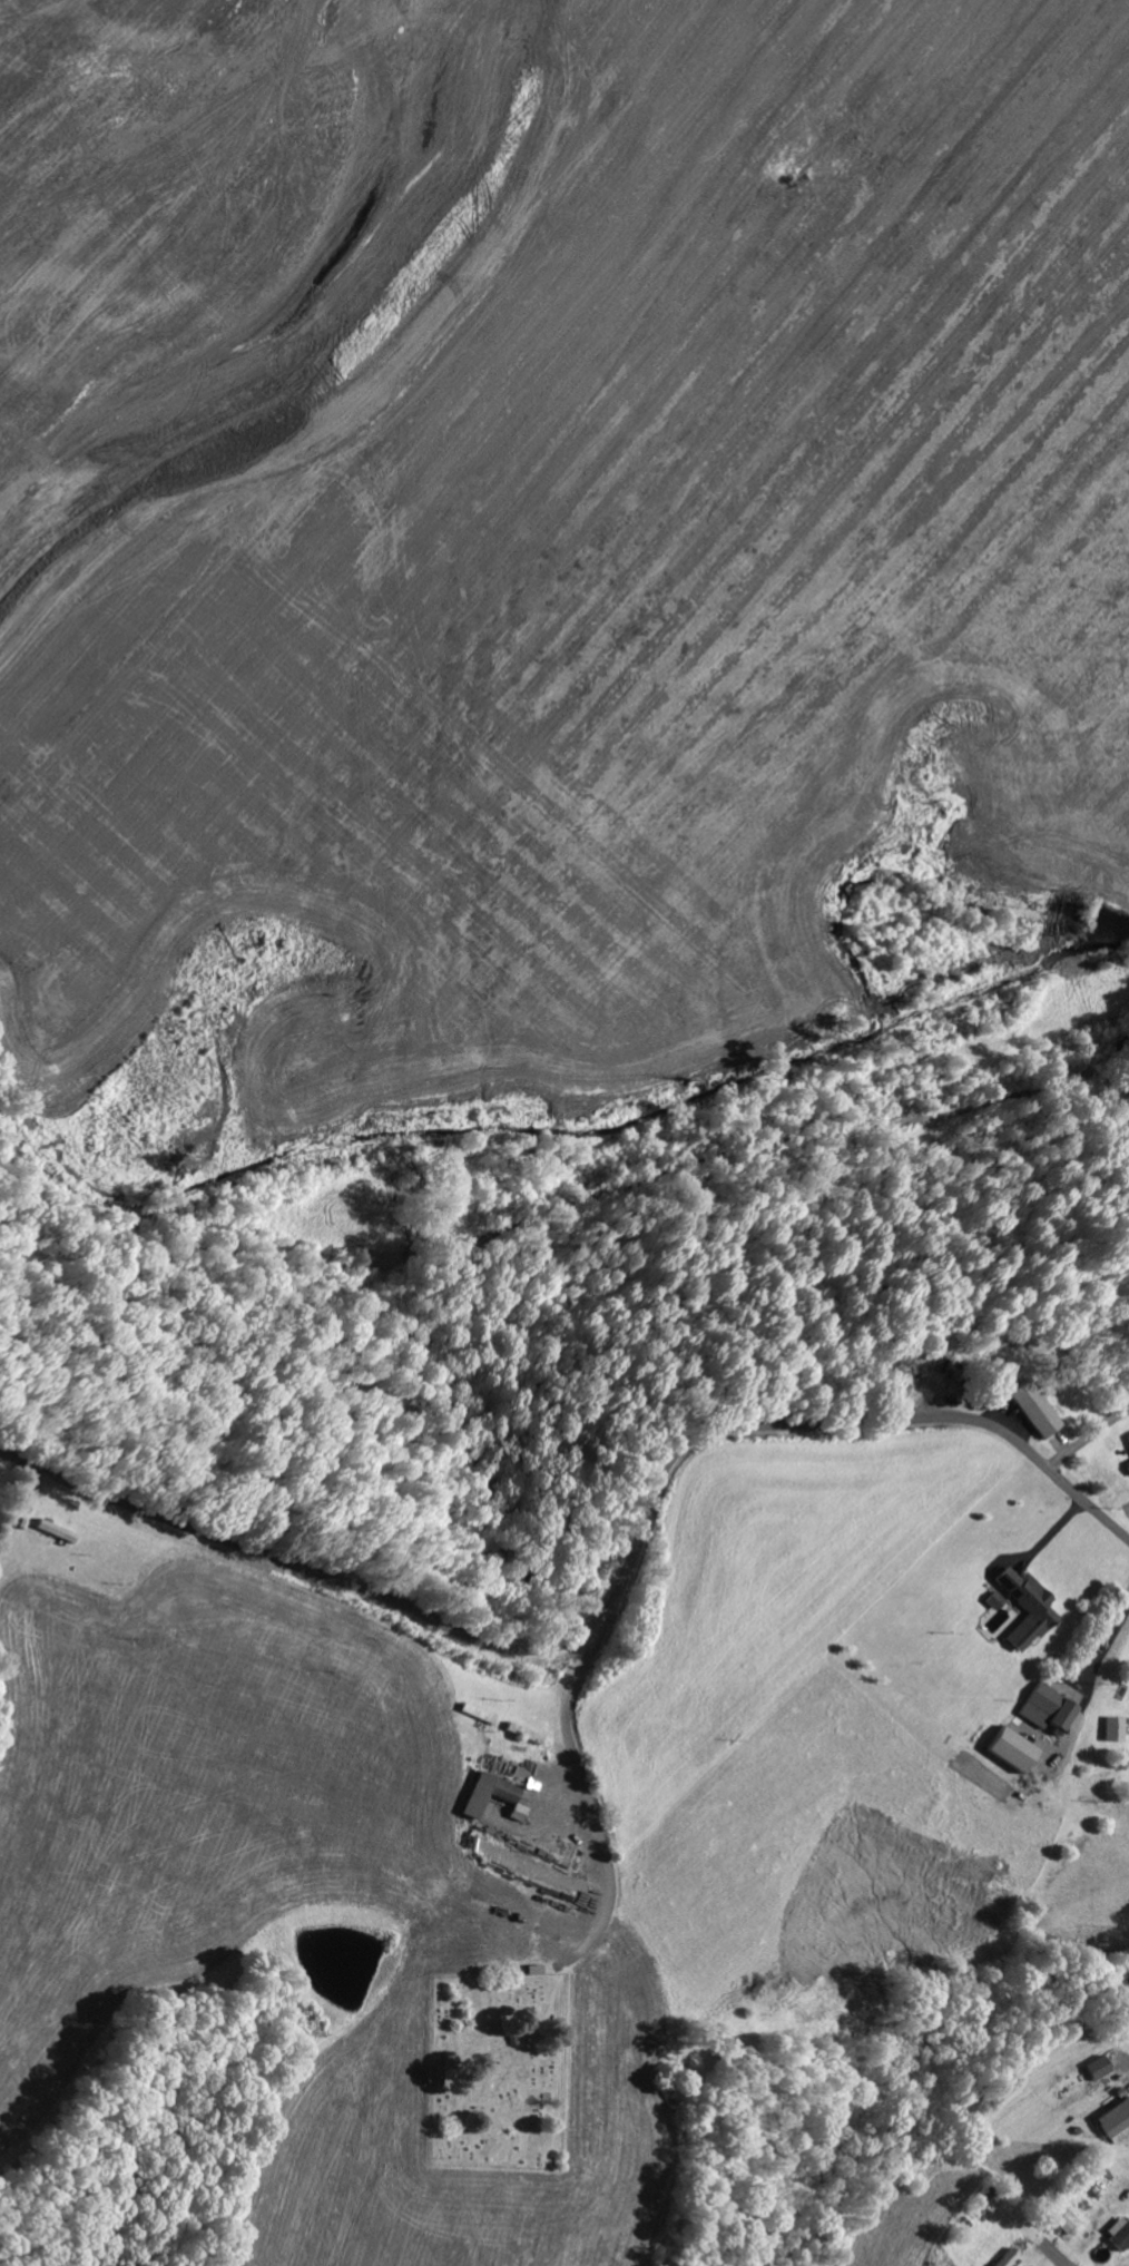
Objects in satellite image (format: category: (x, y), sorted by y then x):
road: (569, 1205)
building: (1031, 1407)
building: (1127, 1438)
building: (1127, 1465)
building: (994, 1600)
road: (611, 1603)
building: (1025, 1608)
building: (1044, 1707)
building: (1111, 1729)
building: (1008, 1749)
building: (483, 1794)
road: (588, 1799)
building: (513, 1812)
building: (1096, 2068)
park: (497, 2069)
building: (1113, 2120)
building: (1059, 2224)
building: (1004, 2257)

